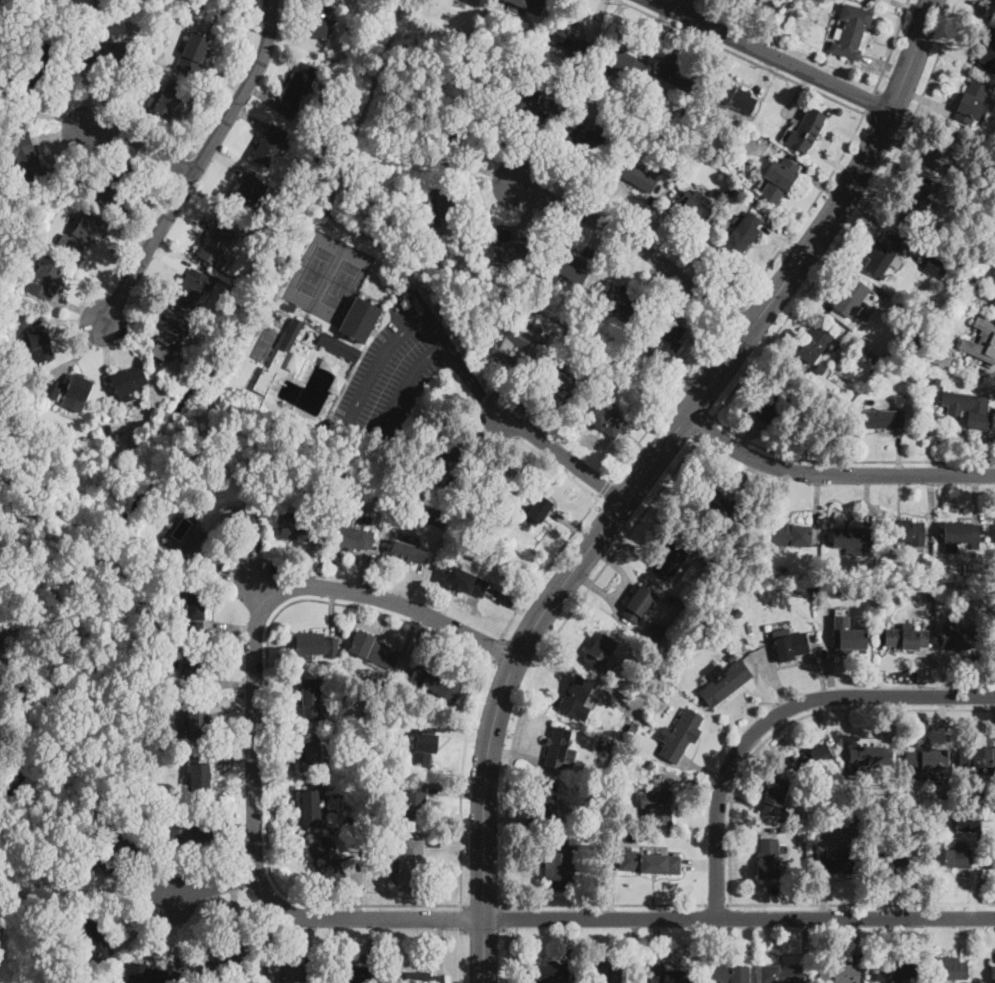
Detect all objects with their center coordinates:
building: (994, 0)
building: (27, 3)
building: (773, 3)
building: (528, 4)
building: (69, 5)
building: (98, 6)
road: (682, 6)
road: (908, 7)
road: (597, 17)
building: (172, 21)
building: (317, 21)
road: (766, 29)
building: (851, 31)
road: (653, 32)
road: (678, 36)
building: (570, 40)
road: (297, 42)
road: (892, 46)
building: (154, 52)
building: (987, 52)
building: (108, 53)
building: (193, 53)
road: (773, 55)
road: (744, 57)
building: (626, 65)
building: (1, 70)
road: (885, 70)
building: (36, 72)
road: (764, 75)
building: (679, 77)
road: (223, 81)
building: (296, 90)
building: (631, 92)
road: (798, 93)
road: (911, 93)
road: (261, 94)
building: (735, 96)
road: (88, 98)
building: (166, 100)
road: (869, 100)
road: (894, 101)
building: (970, 101)
building: (533, 106)
road: (205, 108)
building: (623, 114)
road: (55, 116)
road: (248, 118)
road: (886, 124)
building: (684, 127)
building: (806, 131)
road: (63, 133)
building: (459, 134)
building: (584, 141)
building: (269, 145)
road: (144, 148)
road: (533, 153)
building: (947, 153)
building: (29, 163)
road: (223, 163)
road: (199, 164)
building: (246, 167)
road: (484, 171)
building: (638, 176)
road: (579, 177)
building: (778, 180)
building: (714, 182)
building: (118, 185)
building: (728, 190)
building: (247, 197)
building: (443, 202)
building: (915, 204)
building: (696, 208)
road: (807, 210)
road: (479, 212)
road: (640, 212)
road: (192, 214)
road: (529, 215)
road: (143, 216)
road: (662, 217)
road: (855, 220)
building: (431, 228)
building: (83, 233)
building: (742, 235)
road: (127, 237)
road: (594, 238)
building: (216, 244)
road: (637, 245)
building: (509, 249)
building: (883, 255)
road: (166, 259)
building: (932, 265)
building: (566, 266)
park: (311, 269)
building: (47, 278)
building: (993, 278)
road: (652, 281)
park: (339, 283)
building: (191, 289)
building: (968, 290)
building: (229, 296)
building: (619, 298)
building: (849, 301)
building: (993, 302)
road: (141, 307)
building: (290, 307)
road: (693, 308)
road: (80, 311)
road: (733, 316)
road: (68, 319)
building: (359, 320)
building: (538, 327)
road: (745, 337)
building: (169, 338)
building: (510, 340)
building: (38, 343)
building: (667, 343)
building: (983, 343)
building: (816, 344)
park: (264, 345)
building: (339, 347)
building: (871, 348)
building: (915, 349)
road: (81, 350)
building: (940, 354)
road: (105, 356)
building: (276, 359)
building: (821, 370)
parking lot: (393, 372)
building: (559, 378)
road: (511, 380)
road: (471, 381)
building: (128, 382)
building: (934, 383)
building: (70, 391)
road: (668, 401)
building: (776, 402)
building: (275, 406)
building: (968, 409)
road: (352, 413)
building: (887, 415)
road: (548, 419)
building: (603, 419)
road: (705, 428)
road: (483, 437)
road: (663, 445)
road: (639, 446)
road: (498, 449)
building: (447, 451)
road: (563, 456)
road: (848, 460)
road: (557, 466)
road: (833, 473)
building: (493, 481)
building: (470, 482)
building: (370, 485)
road: (604, 488)
building: (381, 495)
building: (714, 503)
building: (534, 505)
road: (596, 505)
road: (611, 516)
building: (238, 521)
road: (572, 525)
building: (298, 527)
road: (626, 528)
building: (909, 530)
building: (180, 531)
building: (961, 534)
building: (791, 535)
building: (354, 537)
building: (852, 538)
building: (197, 547)
building: (408, 553)
building: (673, 557)
road: (258, 558)
road: (547, 565)
road: (310, 566)
road: (363, 572)
road: (239, 577)
building: (745, 579)
building: (466, 582)
road: (415, 586)
road: (262, 589)
building: (816, 589)
building: (670, 598)
building: (640, 604)
road: (513, 605)
road: (333, 610)
building: (195, 611)
building: (737, 612)
building: (720, 623)
road: (231, 627)
road: (410, 629)
building: (654, 633)
building: (851, 638)
building: (906, 638)
building: (958, 639)
road: (421, 644)
building: (315, 646)
building: (787, 647)
road: (494, 648)
building: (374, 651)
road: (543, 651)
building: (601, 652)
building: (197, 660)
building: (669, 672)
road: (227, 682)
road: (276, 682)
building: (435, 682)
building: (724, 682)
building: (310, 698)
building: (576, 699)
building: (623, 700)
road: (232, 706)
road: (775, 714)
building: (197, 719)
road: (791, 721)
road: (254, 725)
road: (268, 729)
building: (631, 729)
road: (463, 735)
building: (682, 735)
road: (277, 740)
building: (424, 745)
building: (602, 747)
building: (559, 748)
building: (309, 756)
building: (871, 757)
building: (984, 757)
road: (232, 758)
building: (814, 759)
building: (928, 763)
building: (199, 773)
road: (461, 782)
road: (455, 792)
road: (275, 793)
building: (890, 793)
building: (774, 797)
building: (547, 799)
building: (413, 802)
building: (311, 808)
building: (657, 808)
building: (351, 821)
building: (614, 826)
building: (193, 830)
road: (239, 830)
building: (309, 845)
road: (453, 845)
building: (956, 847)
building: (115, 850)
building: (900, 856)
building: (768, 859)
building: (991, 860)
building: (649, 862)
building: (839, 862)
building: (49, 864)
building: (328, 864)
building: (558, 864)
building: (411, 865)
road: (156, 873)
road: (359, 888)
road: (214, 890)
road: (603, 903)
road: (716, 903)
road: (861, 903)
road: (484, 906)
road: (738, 917)
road: (237, 918)
road: (462, 919)
road: (507, 919)
road: (145, 926)
road: (484, 930)
road: (172, 934)
road: (310, 940)
building: (95, 941)
road: (439, 945)
road: (482, 950)
road: (461, 956)
road: (507, 956)
road: (354, 962)
building: (222, 965)
building: (948, 971)
building: (291, 972)
building: (603, 972)
building: (552, 973)
building: (665, 973)
building: (726, 973)
building: (895, 973)
building: (992, 973)
building: (149, 974)
building: (354, 974)
building: (781, 974)
building: (840, 974)
building: (419, 977)

